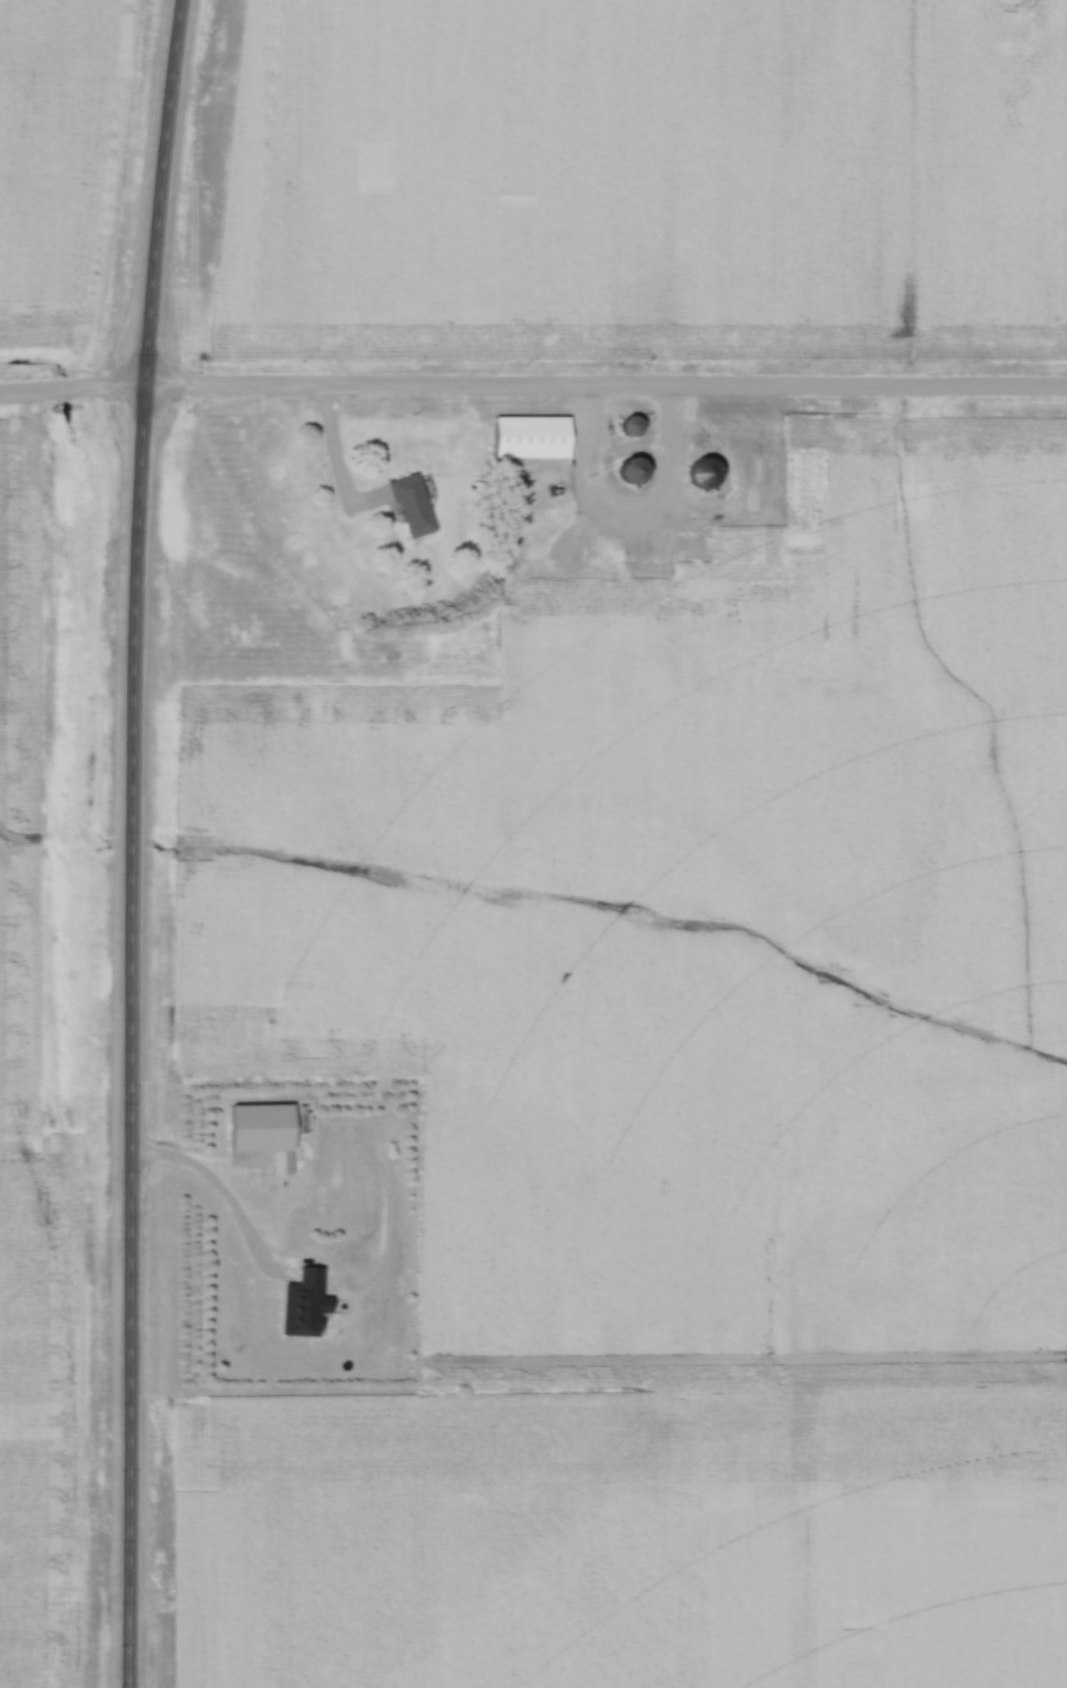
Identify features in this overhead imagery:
crop: (917, 160)
crop: (500, 174)
road: (533, 389)
building: (638, 427)
building: (535, 438)
road: (338, 458)
building: (639, 472)
building: (709, 476)
building: (415, 508)
road: (134, 842)
building: (308, 1307)

